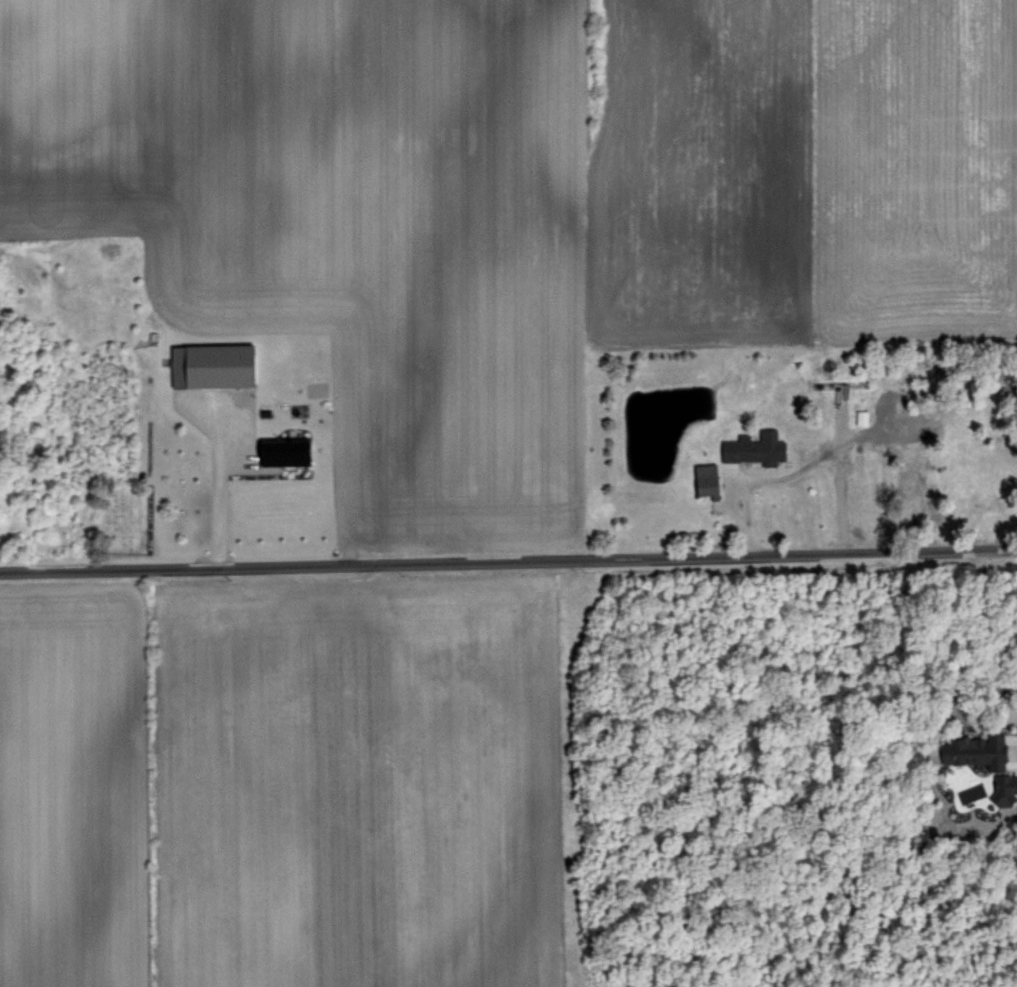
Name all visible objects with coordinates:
building: (207, 364)
building: (858, 416)
building: (751, 447)
building: (281, 449)
building: (701, 477)
road: (753, 477)
road: (839, 480)
road: (217, 503)
road: (508, 556)
building: (976, 751)

